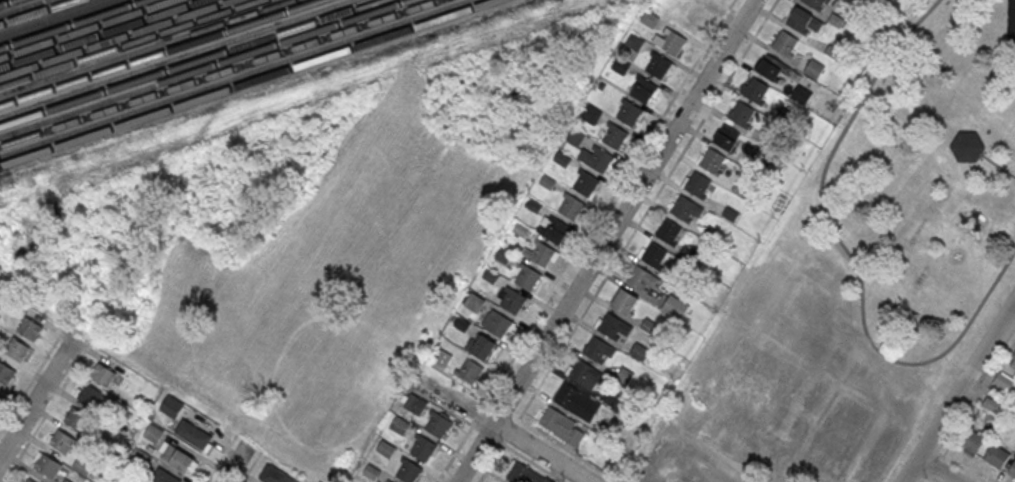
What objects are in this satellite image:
railway: (6, 2)
power tower: (538, 3)
building: (814, 3)
railway: (20, 6)
railway: (34, 11)
railway: (51, 17)
building: (687, 18)
building: (798, 18)
building: (650, 19)
park: (1011, 20)
railway: (71, 23)
railway: (86, 28)
railway: (101, 33)
railway: (116, 38)
building: (634, 41)
building: (673, 42)
building: (785, 42)
railway: (131, 43)
railway: (145, 48)
railway: (160, 53)
railway: (174, 58)
railway: (188, 62)
building: (621, 65)
building: (658, 65)
building: (770, 66)
railway: (204, 68)
building: (814, 68)
railway: (218, 72)
railway: (233, 77)
railway: (247, 82)
building: (643, 89)
building: (755, 90)
building: (801, 94)
building: (629, 112)
building: (590, 113)
building: (741, 113)
building: (575, 135)
building: (614, 135)
building: (726, 136)
building: (967, 147)
building: (562, 158)
building: (600, 159)
building: (712, 159)
road: (997, 167)
building: (547, 181)
building: (585, 182)
power tower: (8, 183)
building: (697, 183)
building: (533, 204)
road: (608, 204)
building: (571, 206)
building: (682, 207)
road: (645, 210)
park: (895, 220)
building: (521, 230)
building: (557, 230)
building: (668, 230)
road: (603, 241)
building: (505, 253)
building: (539, 254)
building: (656, 256)
road: (847, 258)
building: (491, 274)
building: (528, 277)
building: (639, 277)
building: (511, 298)
building: (624, 300)
building: (474, 301)
road: (1014, 304)
building: (675, 306)
building: (462, 323)
building: (497, 323)
building: (610, 324)
building: (30, 329)
building: (484, 347)
building: (598, 348)
building: (17, 349)
building: (639, 350)
building: (443, 357)
building: (1013, 364)
building: (470, 370)
building: (6, 373)
building: (584, 373)
building: (103, 374)
road: (32, 380)
building: (1004, 381)
road: (461, 388)
road: (959, 392)
building: (0, 395)
building: (90, 395)
road: (37, 397)
road: (976, 399)
building: (577, 401)
building: (415, 403)
building: (172, 406)
road: (446, 408)
road: (501, 410)
road: (46, 412)
road: (479, 413)
building: (77, 418)
building: (399, 424)
building: (438, 424)
building: (562, 424)
road: (502, 429)
road: (510, 431)
building: (153, 432)
building: (193, 433)
road: (487, 434)
road: (916, 436)
building: (64, 440)
building: (974, 440)
road: (928, 444)
road: (565, 447)
building: (386, 448)
building: (423, 448)
road: (455, 450)
building: (996, 454)
building: (176, 457)
road: (220, 458)
road: (898, 458)
road: (490, 460)
road: (530, 461)
road: (901, 461)
road: (235, 463)
building: (47, 465)
building: (82, 466)
road: (250, 466)
road: (963, 466)
road: (935, 468)
road: (913, 469)
building: (1012, 469)
road: (937, 470)
building: (372, 471)
building: (409, 471)
building: (525, 473)
building: (275, 475)
building: (163, 476)
road: (928, 478)
road: (928, 479)
building: (30, 480)
building: (67, 480)
building: (390, 481)

